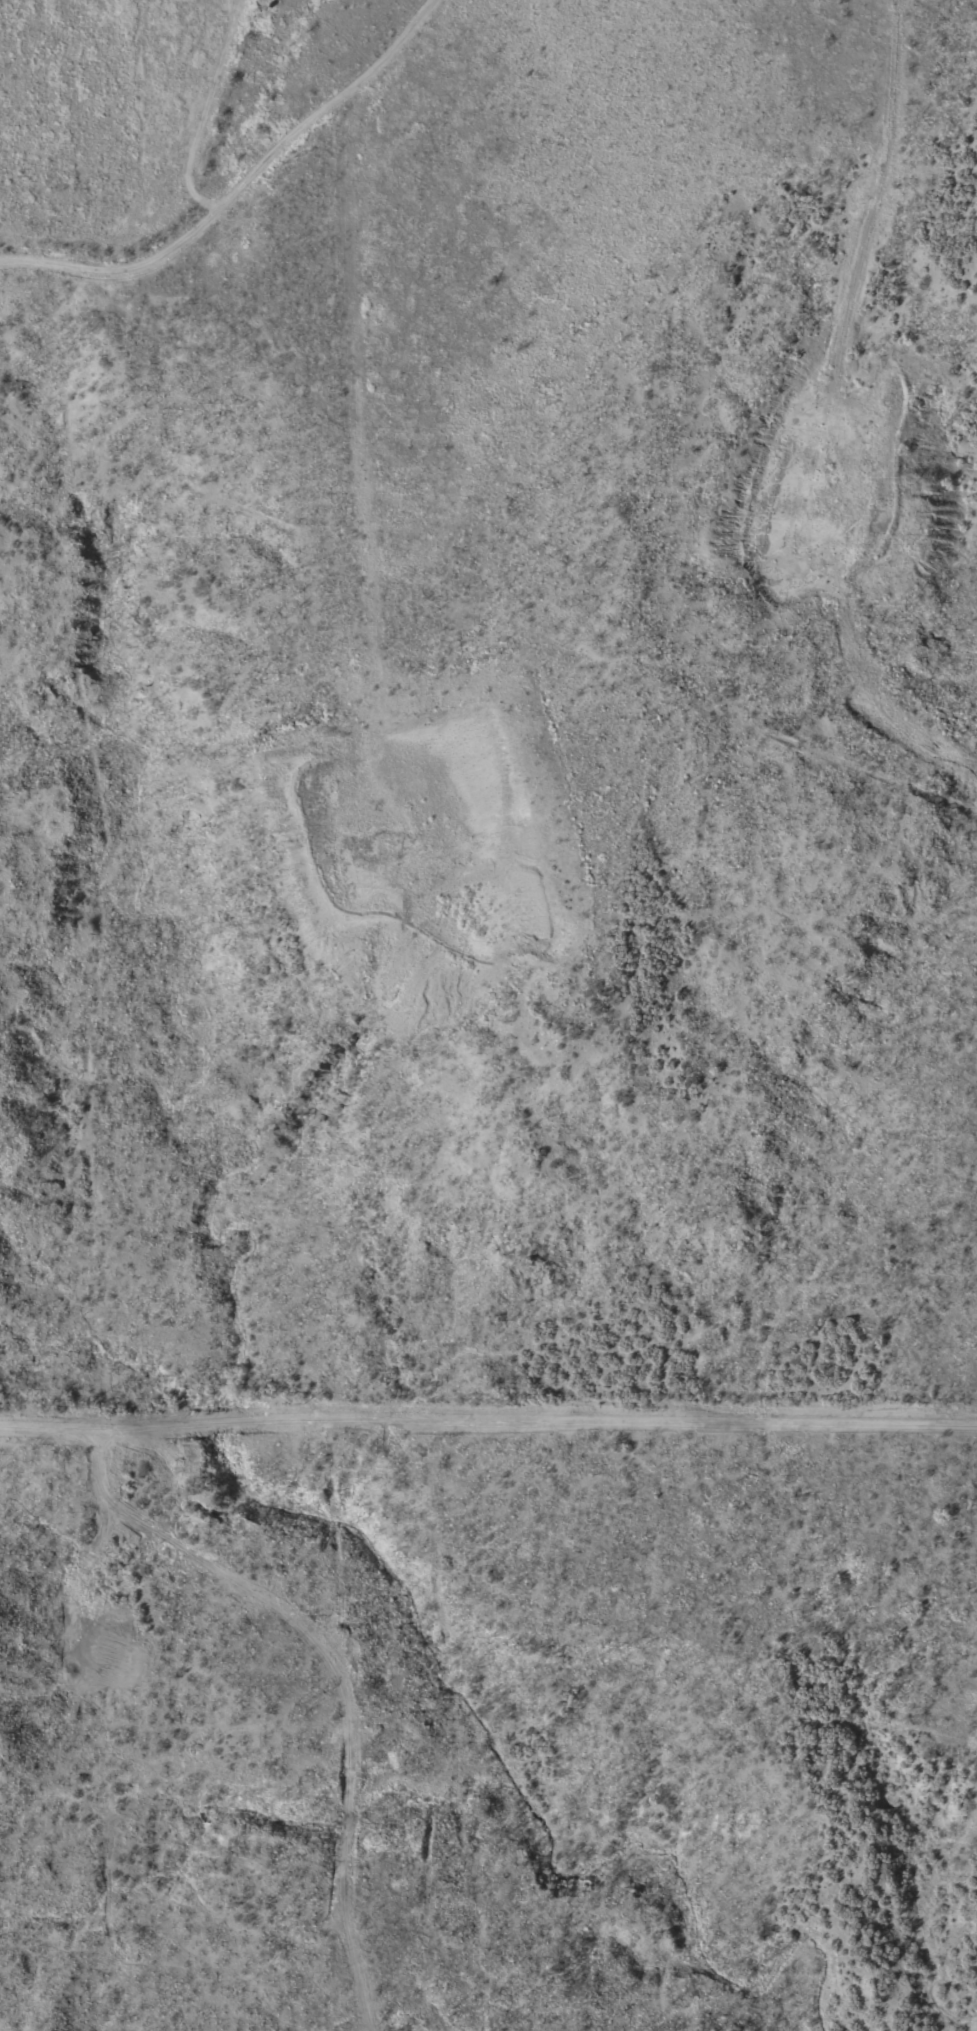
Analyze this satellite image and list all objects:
road: (259, 190)

